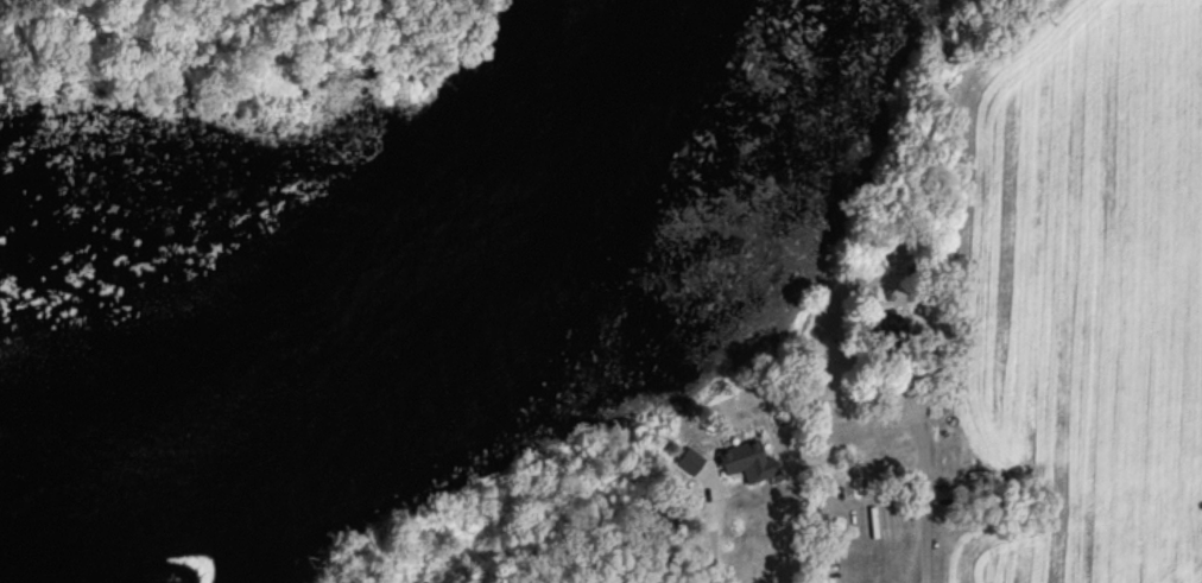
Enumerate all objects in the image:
river: (422, 291)
building: (744, 463)
road: (919, 521)
road: (710, 522)

